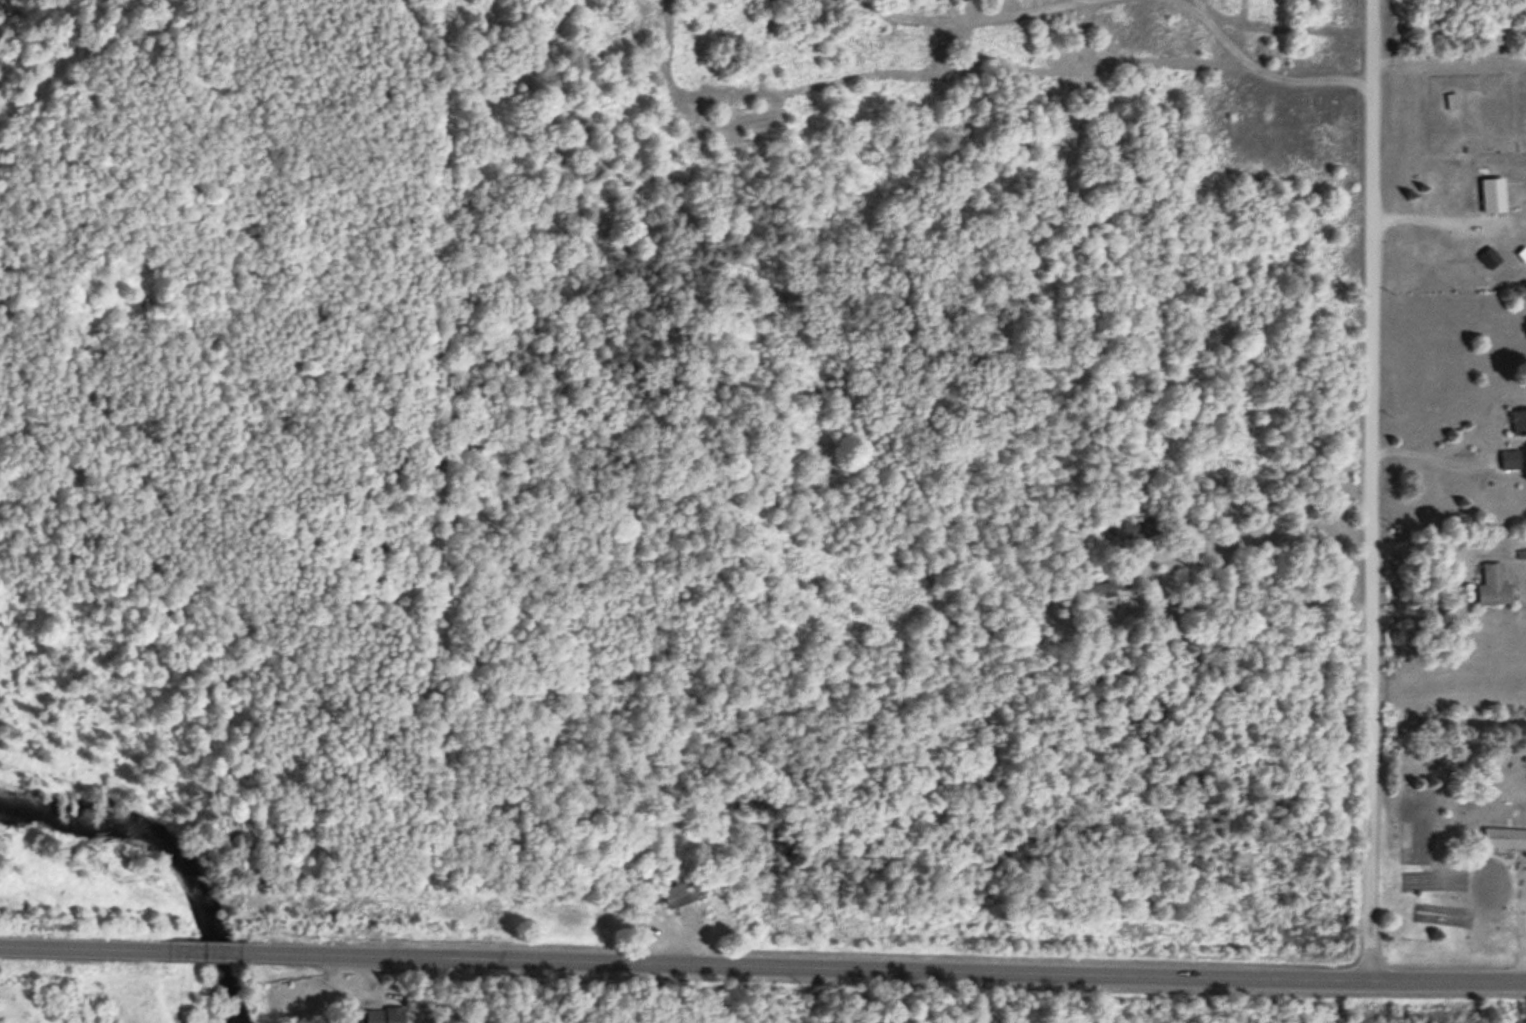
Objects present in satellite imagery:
building: (1486, 201)
building: (1485, 256)
building: (1507, 457)
building: (1483, 484)
road: (1367, 489)
building: (1101, 581)
building: (1490, 583)
river: (188, 834)
building: (1502, 837)
building: (680, 889)
road: (77, 949)
road: (206, 952)
road: (891, 967)
building: (379, 1015)

